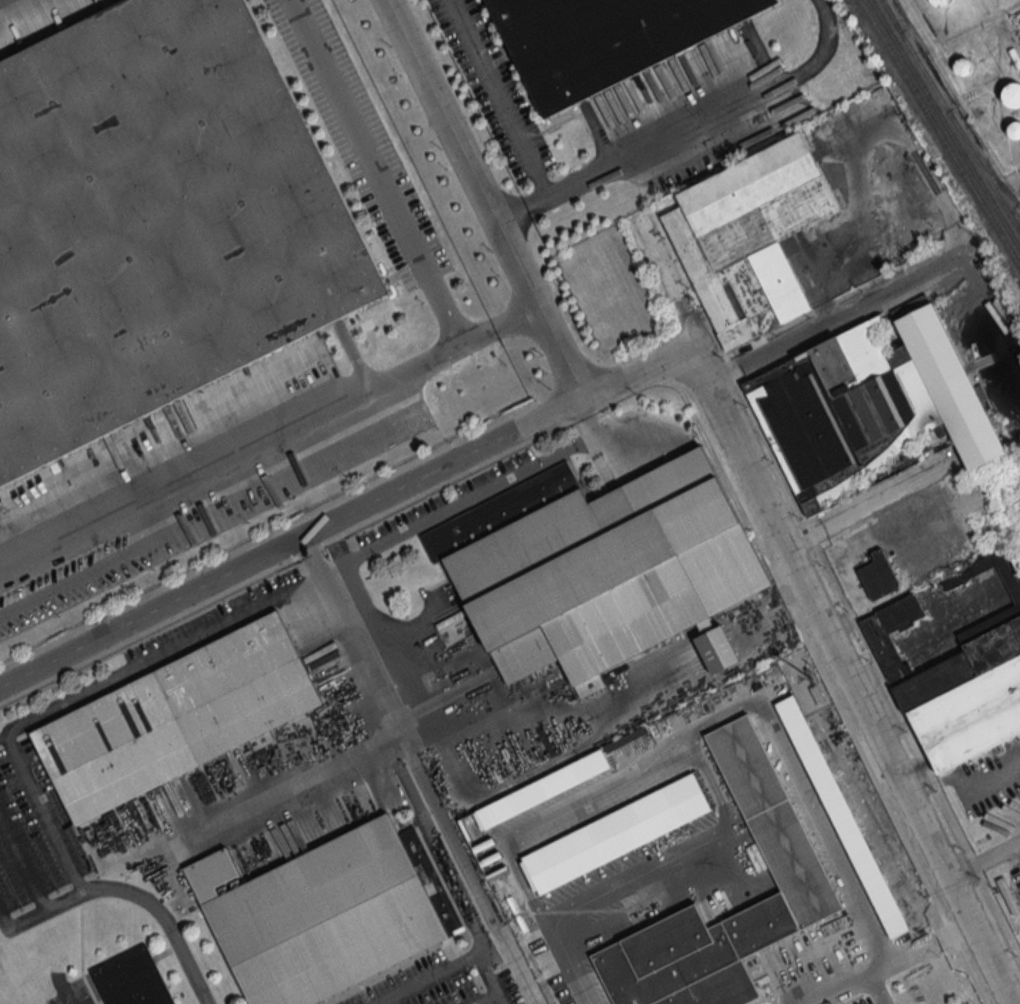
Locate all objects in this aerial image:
building: (943, 3)
storage tank: (943, 3)
building: (603, 39)
railway: (894, 56)
building: (965, 67)
storage tank: (965, 67)
building: (1013, 97)
storage tank: (1013, 97)
road: (499, 99)
railway: (945, 123)
road: (687, 128)
building: (1015, 131)
storage tank: (1015, 131)
road: (374, 172)
railway: (974, 188)
road: (485, 198)
building: (156, 221)
building: (750, 240)
road: (840, 314)
building: (859, 384)
building: (943, 390)
building: (801, 425)
road: (269, 436)
road: (470, 495)
road: (874, 504)
road: (350, 510)
road: (333, 565)
building: (600, 568)
building: (880, 579)
building: (1018, 600)
road: (777, 612)
road: (824, 614)
road: (363, 646)
building: (884, 649)
building: (717, 650)
building: (996, 650)
road: (162, 654)
building: (937, 684)
building: (972, 720)
building: (178, 721)
building: (545, 791)
road: (44, 814)
building: (843, 819)
building: (775, 824)
building: (619, 836)
parking lot: (35, 844)
road: (724, 845)
road: (466, 861)
road: (985, 861)
road: (122, 892)
road: (467, 909)
building: (322, 918)
building: (695, 958)
road: (573, 960)
road: (889, 963)
parking lot: (828, 970)
building: (131, 979)
road: (491, 979)
parking lot: (444, 981)
road: (877, 988)
road: (66, 997)
road: (486, 998)
road: (592, 999)

